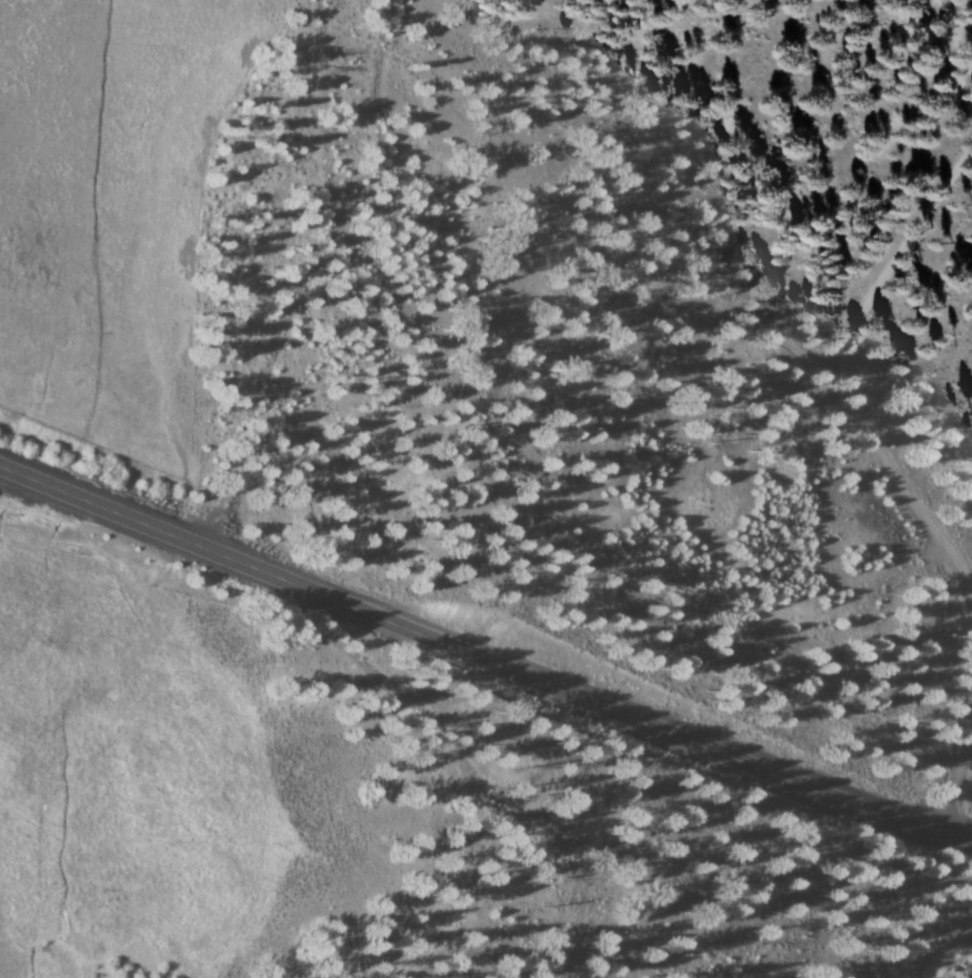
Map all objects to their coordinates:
road: (752, 329)
road: (844, 379)
road: (4, 461)
road: (486, 658)
road: (958, 779)

